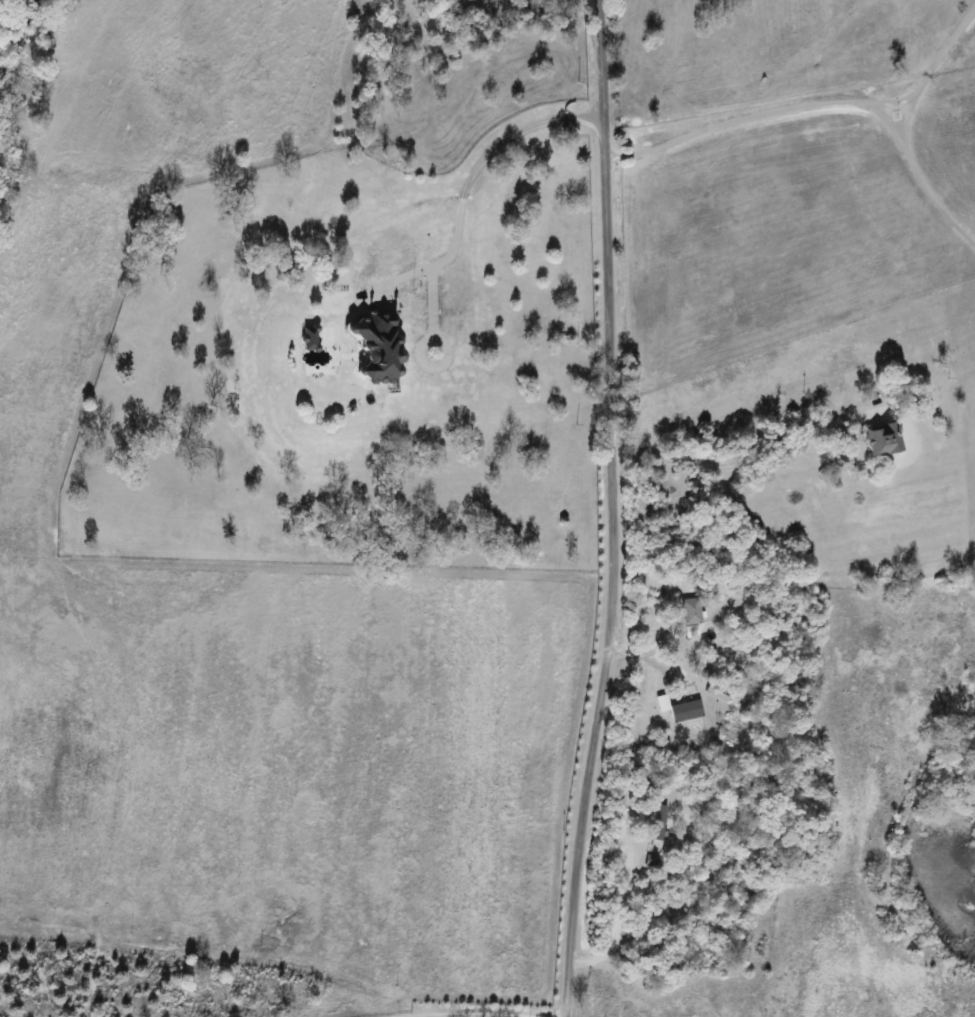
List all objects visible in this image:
road: (806, 103)
road: (908, 115)
road: (473, 168)
road: (915, 173)
building: (376, 345)
road: (412, 345)
building: (882, 439)
road: (784, 445)
road: (613, 509)
building: (689, 611)
building: (681, 719)
building: (657, 827)
road: (476, 1014)
road: (455, 1015)
road: (478, 1015)

